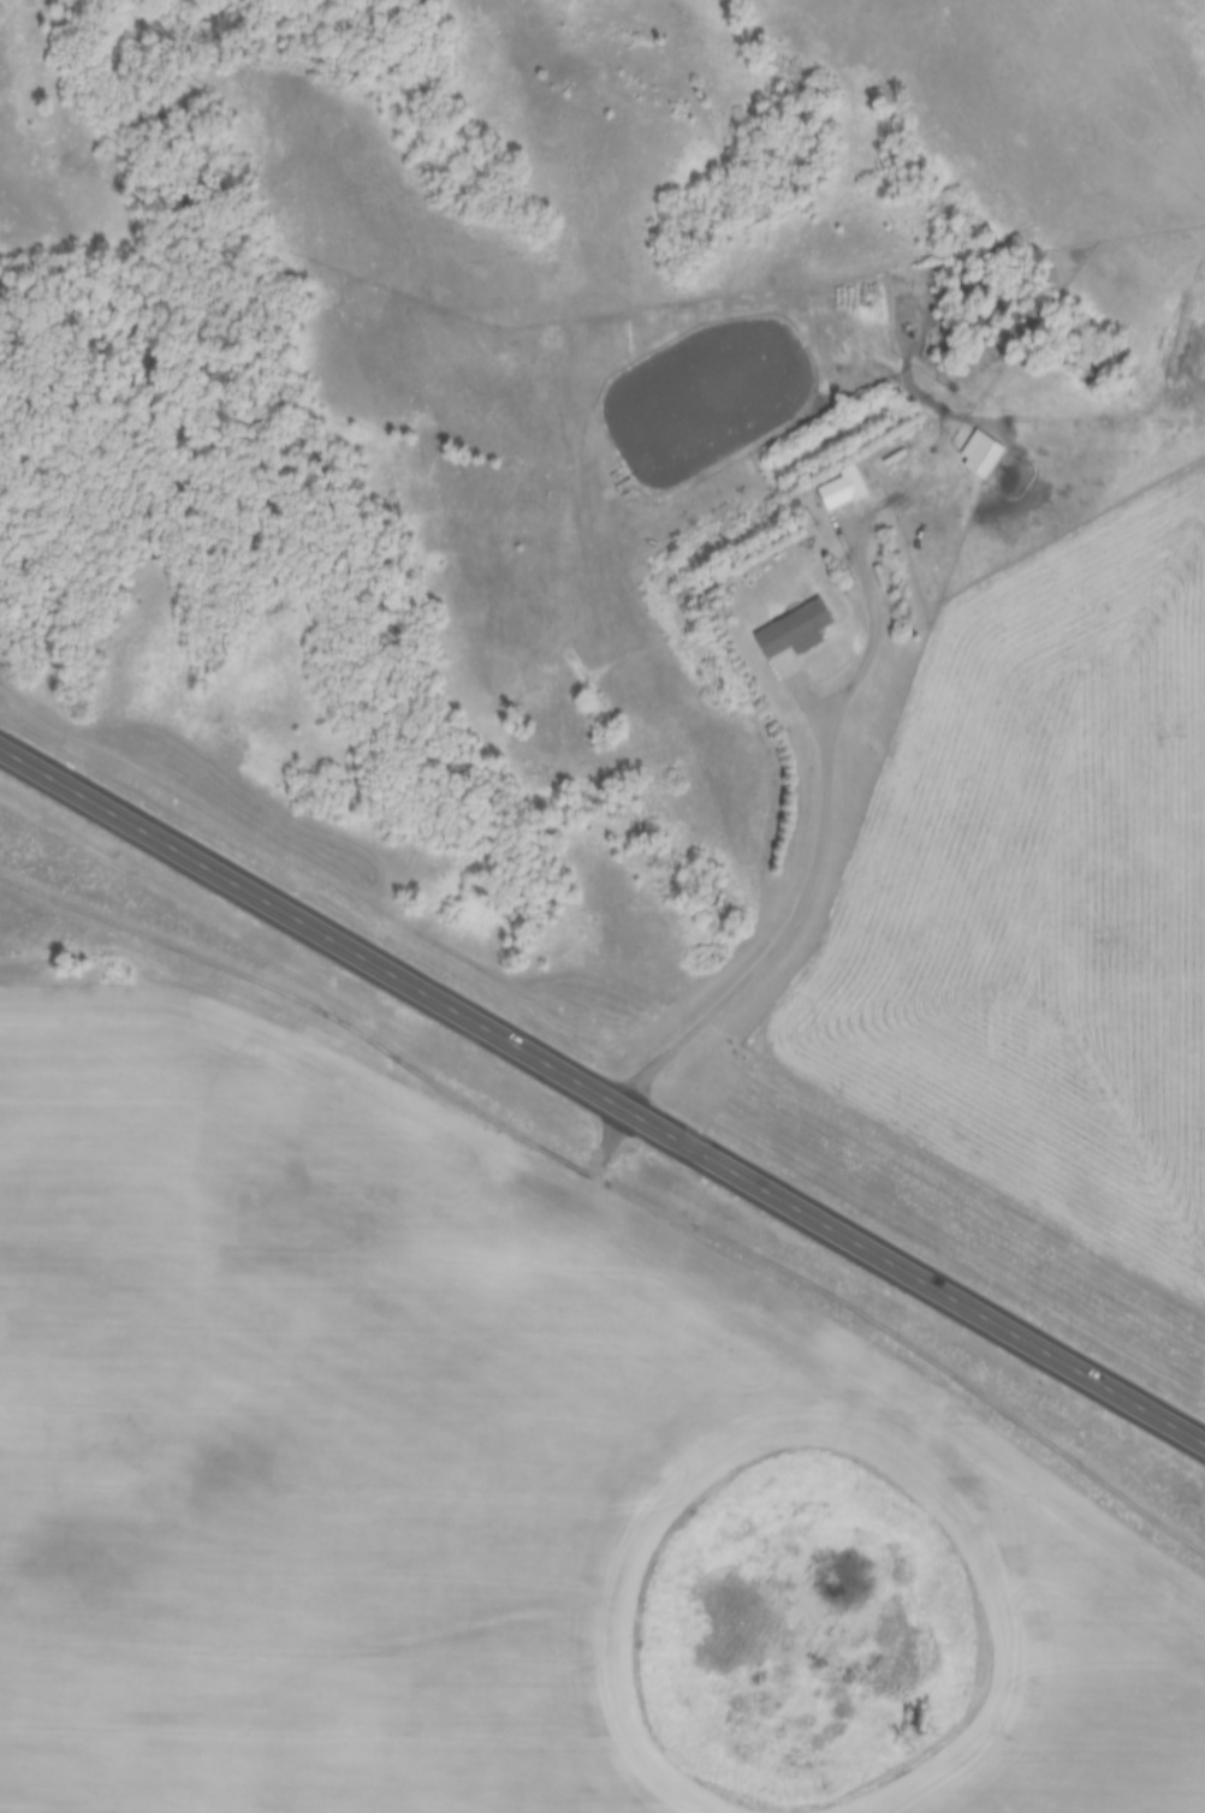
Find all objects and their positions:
building: (978, 453)
building: (851, 481)
building: (826, 495)
building: (793, 630)
road: (825, 836)
road: (601, 1093)

